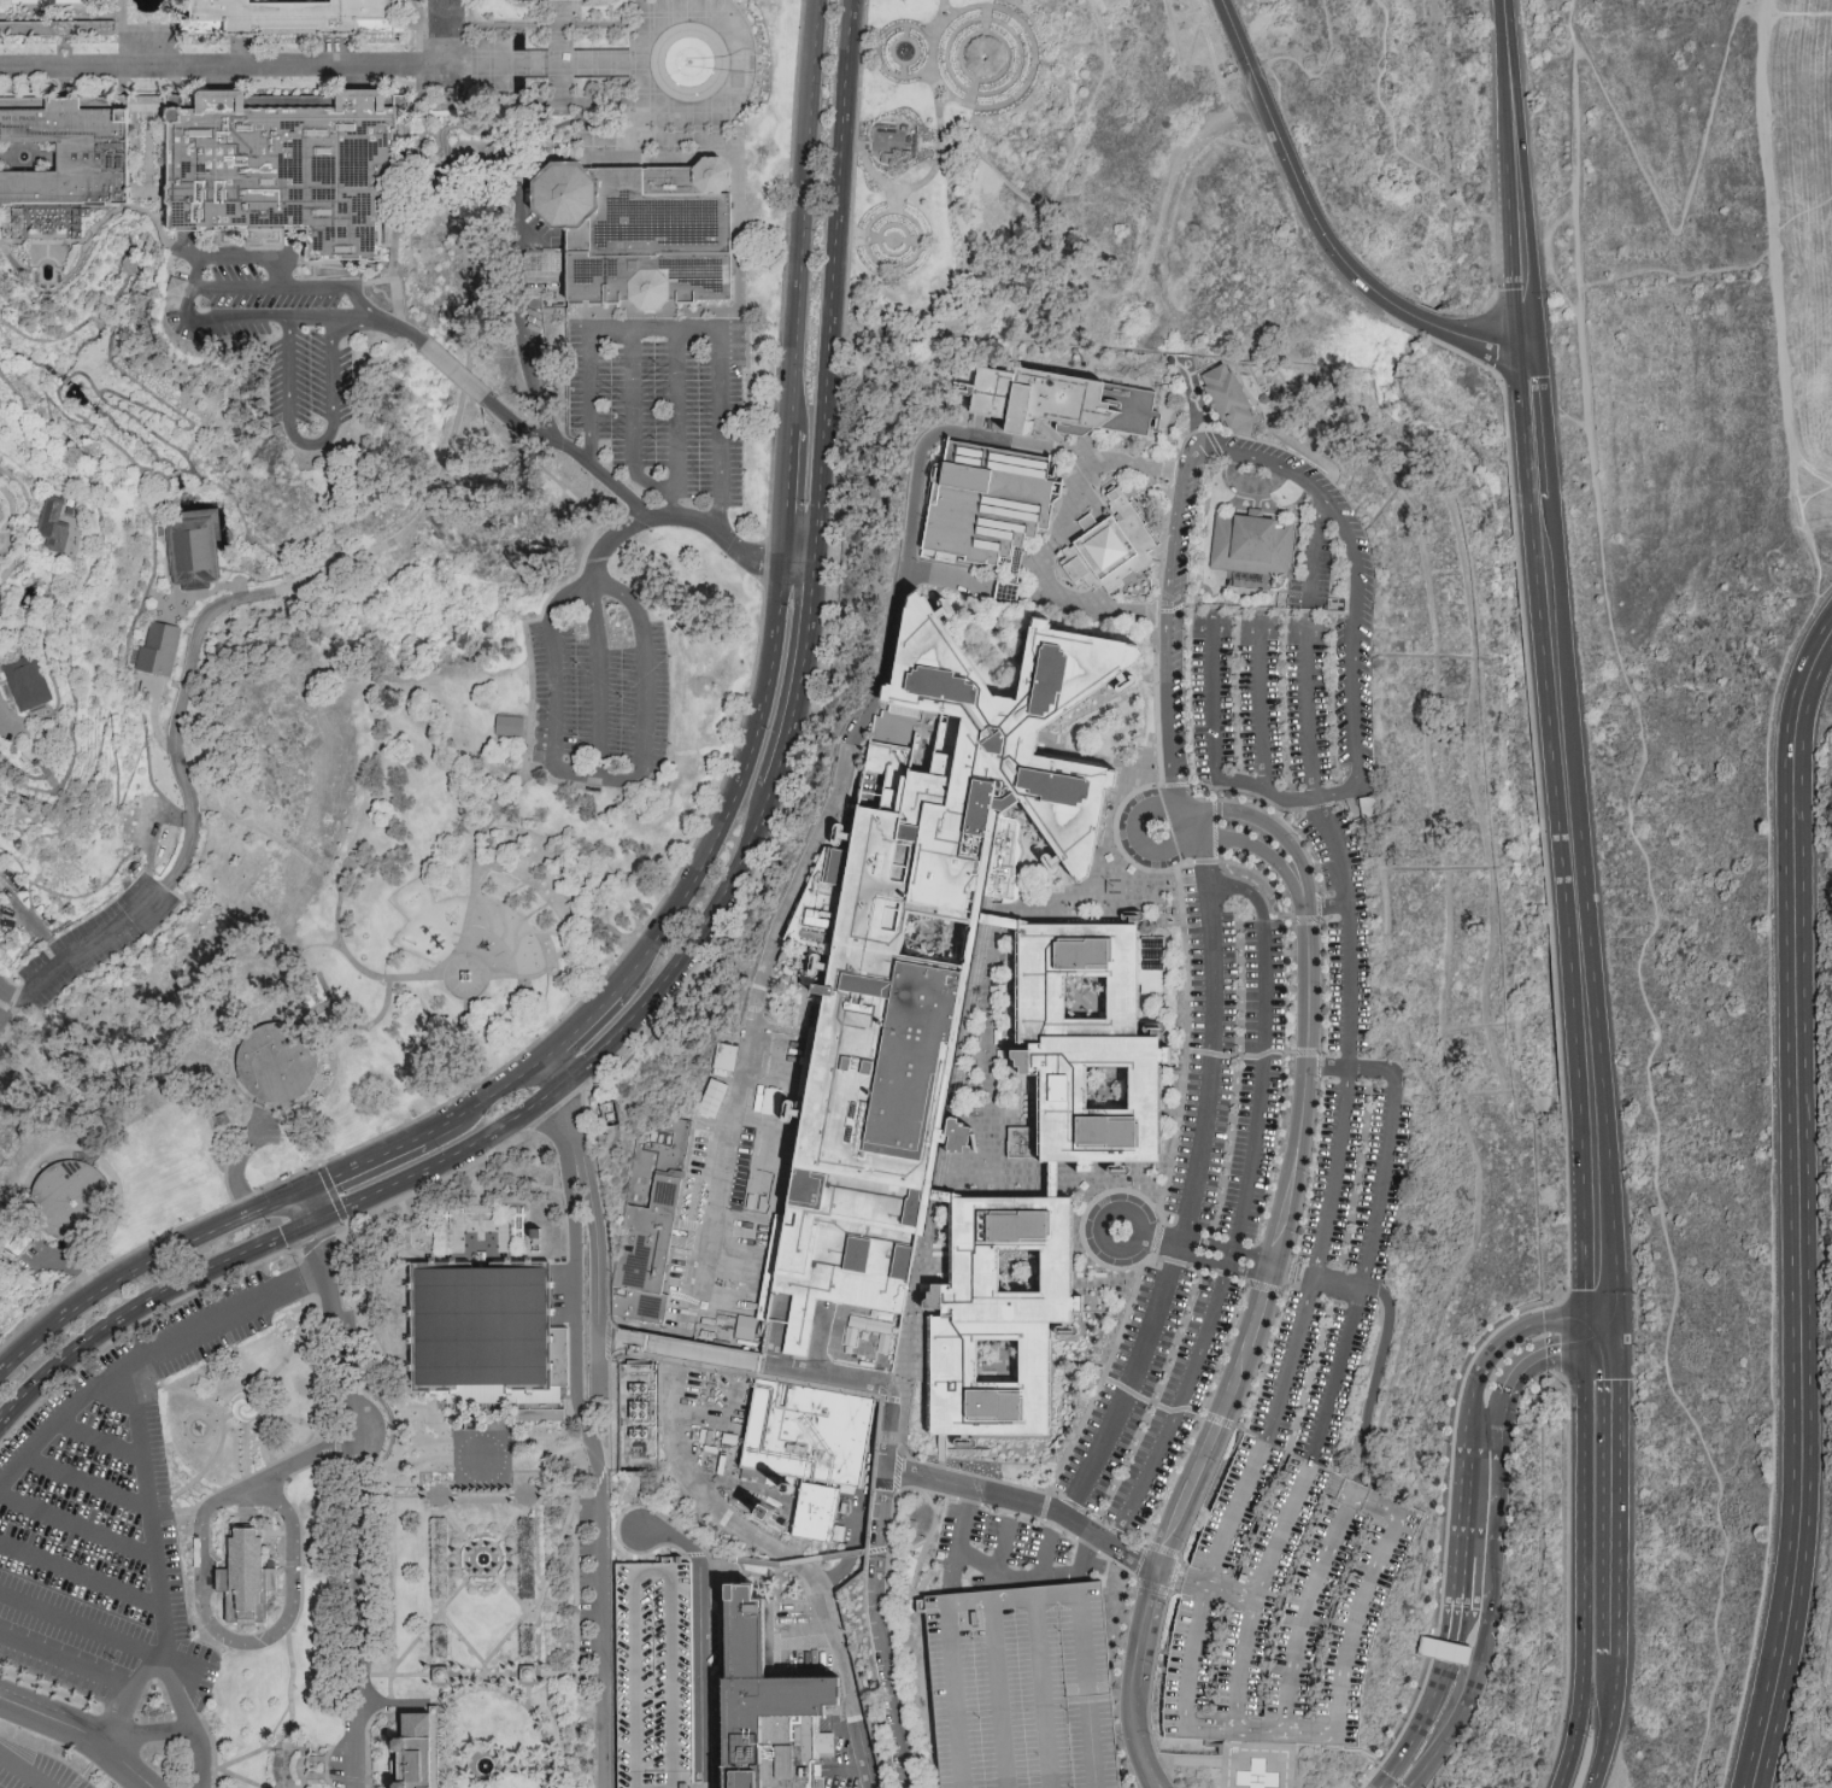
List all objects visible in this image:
road: (57, 1)
road: (949, 7)
road: (1746, 7)
road: (1799, 11)
road: (469, 12)
road: (987, 12)
building: (293, 18)
road: (417, 19)
road: (581, 22)
road: (1777, 23)
road: (900, 24)
road: (986, 25)
road: (1024, 25)
road: (296, 28)
road: (146, 29)
building: (57, 31)
road: (57, 31)
road: (242, 31)
road: (337, 31)
road: (904, 31)
road: (174, 34)
road: (445, 34)
road: (559, 34)
road: (122, 35)
road: (997, 37)
road: (983, 39)
road: (1194, 41)
road: (892, 46)
road: (63, 49)
fountain: (904, 51)
road: (242, 52)
road: (337, 52)
road: (930, 53)
road: (418, 54)
building: (983, 55)
road: (971, 57)
road: (466, 60)
fountain: (689, 65)
road: (615, 68)
road: (480, 69)
road: (222, 70)
road: (903, 70)
road: (859, 71)
road: (977, 75)
road: (897, 76)
road: (1320, 77)
road: (219, 78)
road: (359, 80)
road: (970, 92)
road: (971, 93)
road: (219, 95)
road: (359, 96)
road: (122, 101)
road: (174, 101)
road: (246, 102)
building: (147, 105)
road: (452, 106)
road: (148, 109)
park: (638, 109)
road: (638, 109)
road: (977, 109)
road: (445, 111)
road: (474, 112)
road: (427, 113)
road: (495, 118)
road: (424, 124)
road: (488, 128)
road: (441, 131)
road: (136, 133)
road: (485, 133)
road: (445, 139)
road: (1394, 141)
road: (421, 142)
road: (867, 143)
road: (148, 145)
road: (532, 145)
road: (928, 145)
road: (447, 147)
road: (487, 147)
road: (427, 148)
road: (440, 150)
building: (512, 151)
building: (69, 152)
road: (674, 157)
road: (28, 158)
fountain: (23, 159)
road: (158, 160)
road: (431, 162)
road: (990, 162)
road: (481, 164)
building: (284, 166)
road: (439, 168)
road: (453, 168)
road: (459, 168)
road: (442, 170)
road: (439, 172)
road: (922, 181)
road: (465, 182)
road: (852, 190)
road: (146, 192)
road: (154, 192)
road: (464, 199)
road: (162, 200)
road: (894, 201)
road: (1784, 203)
road: (395, 207)
road: (1799, 209)
road: (158, 215)
road: (801, 215)
road: (98, 218)
road: (476, 219)
road: (1555, 219)
road: (1533, 224)
road: (1681, 224)
road: (1315, 228)
road: (465, 231)
building: (641, 233)
road: (857, 238)
road: (164, 240)
road: (893, 240)
road: (4, 242)
road: (388, 245)
road: (1774, 250)
road: (896, 253)
road: (80, 254)
road: (236, 262)
road: (12, 263)
road: (64, 263)
road: (348, 268)
road: (893, 268)
fountain: (46, 271)
road: (1551, 271)
road: (740, 272)
road: (1680, 276)
road: (337, 277)
road: (48, 280)
road: (371, 280)
road: (1064, 280)
road: (832, 282)
road: (46, 285)
building: (181, 286)
road: (42, 287)
road: (239, 291)
road: (707, 303)
road: (369, 313)
road: (223, 320)
road: (104, 321)
road: (1, 322)
road: (397, 328)
parking lot: (277, 332)
road: (686, 334)
road: (51, 339)
road: (51, 364)
road: (72, 370)
road: (452, 371)
road: (529, 376)
road: (65, 381)
road: (42, 385)
road: (58, 386)
building: (1226, 398)
building: (1059, 403)
road: (89, 406)
parking lot: (665, 408)
road: (190, 426)
road: (675, 426)
road: (518, 427)
road: (632, 427)
road: (64, 434)
road: (153, 434)
road: (108, 439)
road: (310, 446)
road: (1068, 452)
road: (1257, 457)
road: (539, 468)
road: (176, 474)
road: (1809, 497)
road: (785, 498)
building: (983, 506)
road: (34, 517)
road: (236, 517)
road: (0, 518)
road: (692, 520)
road: (8, 522)
road: (12, 522)
road: (17, 522)
building: (53, 526)
road: (1819, 526)
road: (4, 539)
building: (1251, 546)
road: (28, 547)
building: (193, 550)
road: (216, 550)
building: (1109, 551)
road: (1315, 551)
road: (153, 553)
road: (94, 564)
road: (312, 582)
road: (1822, 590)
road: (35, 614)
road: (538, 620)
road: (1, 632)
road: (1548, 632)
building: (159, 650)
road: (800, 678)
road: (603, 679)
building: (25, 685)
road: (53, 688)
parking lot: (600, 691)
road: (814, 694)
road: (1258, 713)
road: (1308, 715)
building: (504, 723)
road: (12, 732)
parking lot: (12, 734)
road: (33, 749)
road: (1214, 756)
road: (19, 775)
road: (610, 779)
road: (27, 785)
road: (733, 791)
road: (1139, 831)
road: (1275, 832)
road: (1263, 854)
road: (691, 856)
road: (1340, 873)
park: (916, 893)
road: (1662, 904)
road: (471, 910)
parking lot: (93, 945)
road: (86, 948)
road: (687, 951)
road: (452, 979)
building: (318, 990)
road: (4, 992)
road: (4, 1001)
building: (893, 1001)
parking lot: (1347, 1006)
road: (579, 1022)
road: (372, 1027)
road: (1211, 1043)
building: (723, 1055)
road: (1263, 1056)
building: (281, 1065)
road: (552, 1071)
road: (483, 1097)
road: (575, 1097)
road: (564, 1110)
road: (1773, 1113)
road: (518, 1115)
road: (547, 1122)
road: (728, 1124)
road: (233, 1150)
road: (239, 1163)
road: (360, 1163)
road: (1335, 1177)
road: (436, 1183)
road: (395, 1184)
traffic signals: (301, 1191)
road: (334, 1197)
building: (75, 1198)
road: (275, 1202)
parking lot: (1194, 1203)
road: (307, 1207)
road: (1802, 1210)
road: (411, 1221)
building: (650, 1221)
traffic signals: (313, 1223)
road: (1375, 1223)
road: (205, 1232)
road: (318, 1237)
road: (1151, 1237)
building: (22, 1239)
road: (597, 1247)
road: (249, 1250)
road: (1205, 1250)
road: (71, 1270)
road: (345, 1282)
park: (17, 1284)
road: (1590, 1292)
road: (1605, 1292)
road: (75, 1305)
road: (1390, 1312)
road: (227, 1318)
traffic signals: (1583, 1321)
road: (1598, 1321)
road: (135, 1323)
road: (378, 1324)
building: (742, 1326)
road: (850, 1331)
road: (1583, 1336)
road: (1614, 1336)
building: (492, 1339)
road: (84, 1341)
road: (380, 1344)
traffic signals: (1583, 1352)
road: (1598, 1352)
traffic signals: (1614, 1352)
road: (289, 1353)
road: (1246, 1359)
road: (599, 1361)
road: (797, 1373)
road: (1131, 1384)
road: (1179, 1403)
road: (284, 1420)
building: (638, 1420)
road: (57, 1423)
road: (225, 1423)
road: (211, 1428)
road: (101, 1436)
road: (245, 1436)
road: (141, 1442)
building: (808, 1450)
road: (595, 1459)
road: (298, 1465)
road: (263, 1468)
road: (411, 1475)
road: (922, 1478)
road: (89, 1481)
road: (498, 1495)
road: (352, 1502)
road: (1615, 1502)
road: (1461, 1503)
road: (328, 1507)
road: (186, 1511)
parking lot: (112, 1514)
road: (80, 1523)
road: (1495, 1536)
road: (1105, 1540)
road: (880, 1543)
road: (962, 1543)
road: (1003, 1548)
parking lot: (1005, 1555)
road: (1044, 1559)
road: (558, 1564)
building: (247, 1565)
road: (992, 1570)
road: (1584, 1571)
road: (83, 1572)
road: (788, 1572)
road: (652, 1576)
road: (1061, 1577)
road: (503, 1581)
road: (469, 1582)
road: (163, 1583)
road: (532, 1584)
road: (395, 1585)
road: (444, 1585)
road: (579, 1590)
road: (1252, 1599)
road: (969, 1607)
building: (1282, 1607)
parking lot: (1282, 1607)
road: (78, 1619)
road: (699, 1636)
road: (258, 1640)
road: (470, 1643)
building: (1440, 1649)
road: (67, 1664)
road: (477, 1676)
building: (652, 1676)
parking lot: (652, 1676)
road: (295, 1686)
road: (178, 1688)
building: (1021, 1689)
parking lot: (1021, 1689)
road: (51, 1690)
road: (135, 1692)
road: (450, 1692)
road: (492, 1692)
road: (532, 1692)
road: (1340, 1693)
road: (395, 1694)
road: (163, 1695)
road: (1044, 1695)
road: (1000, 1696)
road: (892, 1702)
building: (764, 1707)
road: (118, 1716)
road: (54, 1717)
road: (1609, 1723)
road: (176, 1730)
road: (134, 1733)
road: (210, 1736)
road: (110, 1740)
park: (1820, 1740)
road: (375, 1743)
road: (268, 1746)
road: (1093, 1748)
road: (335, 1753)
building: (418, 1753)
road: (205, 1757)
road: (1185, 1764)
road: (130, 1766)
road: (501, 1766)
road: (28, 1768)
parking lot: (36, 1768)
road: (309, 1769)
road: (1405, 1771)
road: (1604, 1774)
road: (327, 1775)
road: (240, 1776)
road: (1159, 1783)
helipad: (1257, 1786)

